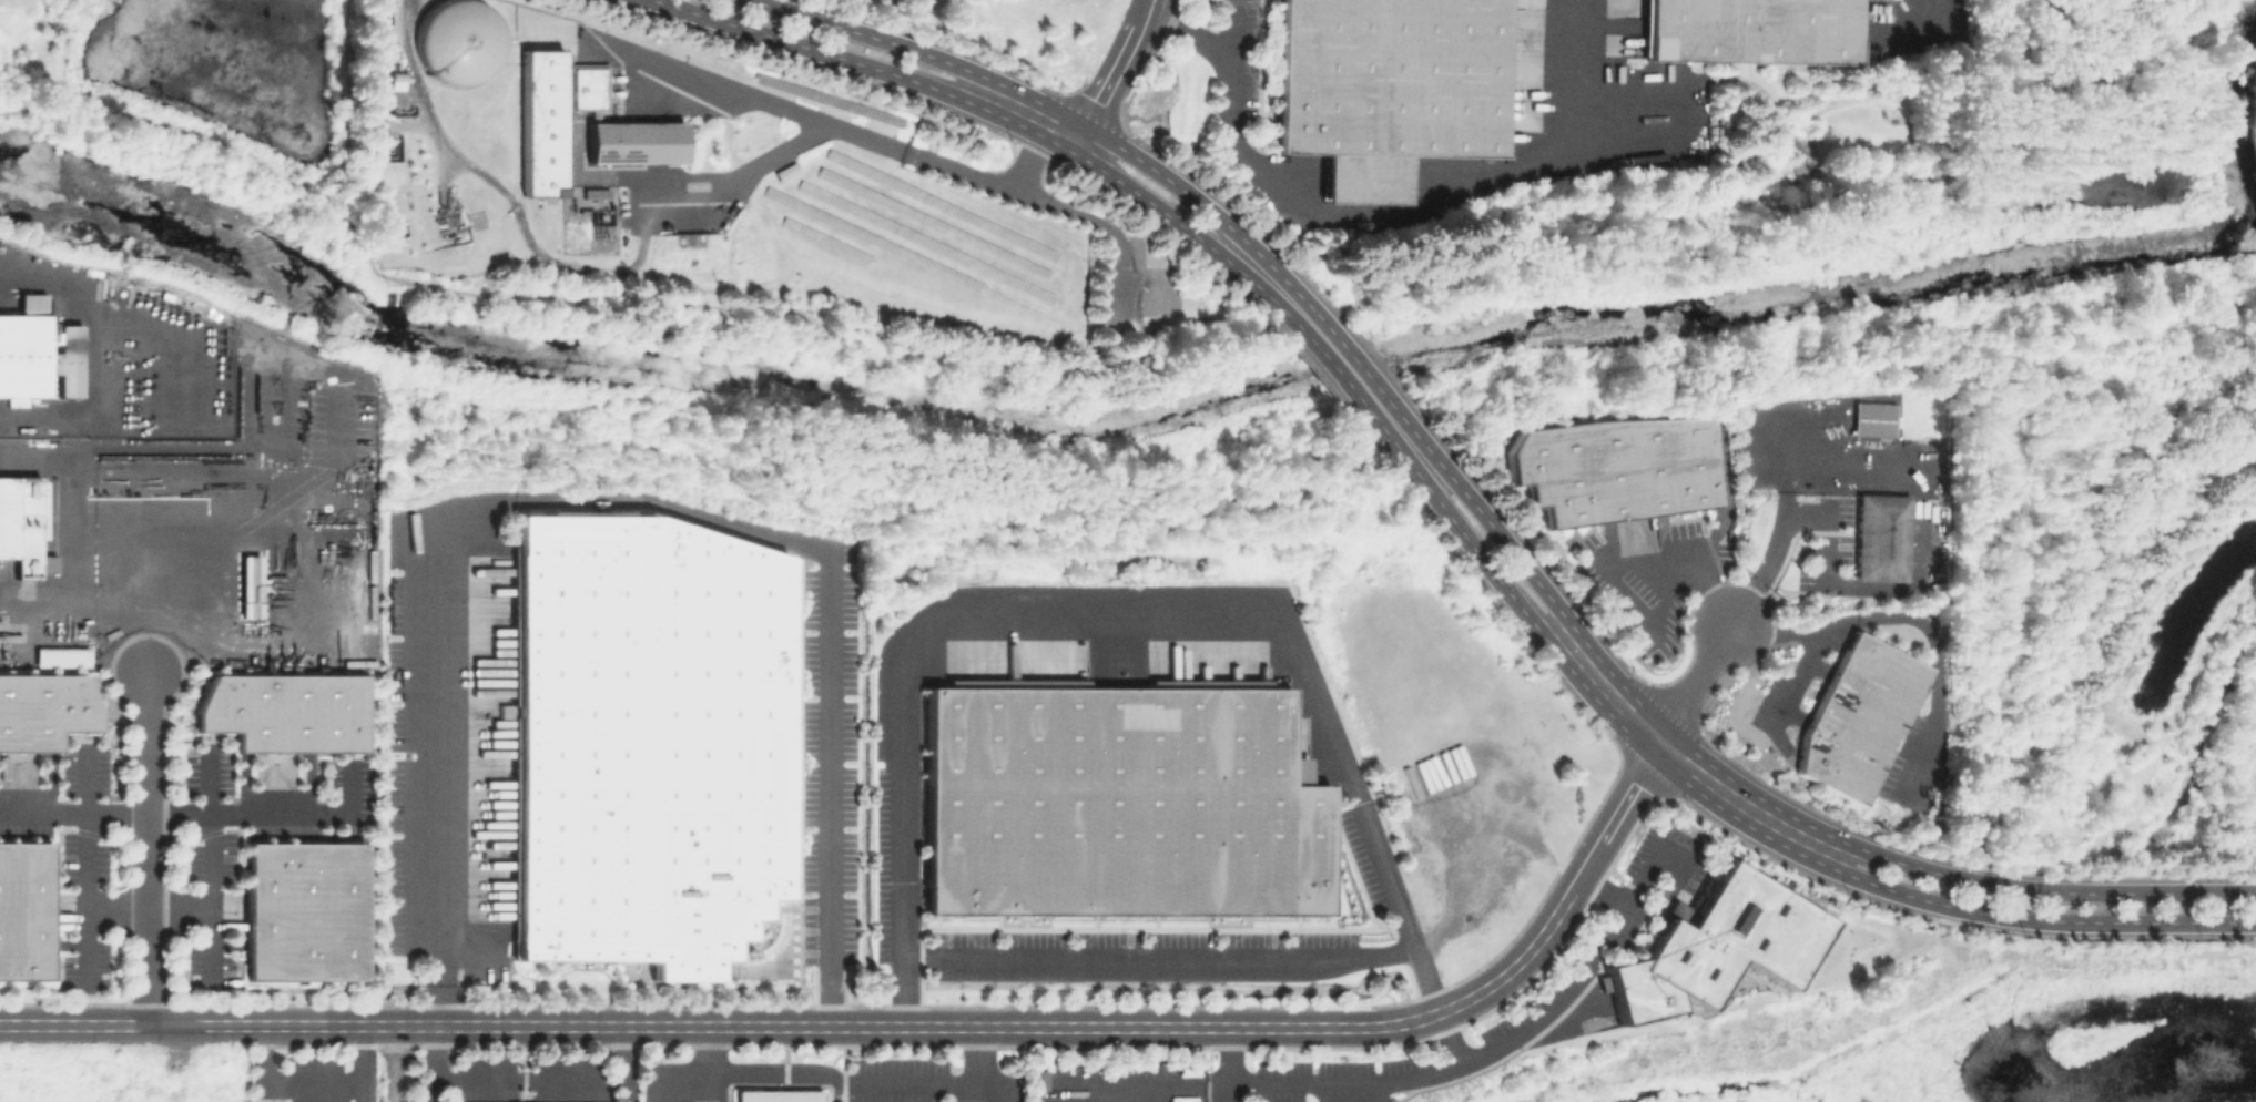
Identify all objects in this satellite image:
road: (1141, 12)
building: (1754, 31)
road: (866, 35)
road: (1193, 37)
road: (1906, 37)
road: (1230, 39)
storage tank: (456, 40)
building: (456, 41)
road: (61, 45)
road: (812, 49)
road: (2083, 79)
road: (1109, 82)
building: (1389, 86)
building: (589, 90)
road: (1229, 104)
road: (1026, 112)
road: (802, 113)
building: (541, 122)
road: (1041, 136)
building: (638, 140)
road: (734, 180)
road: (502, 190)
building: (597, 192)
road: (1576, 195)
road: (1192, 198)
road: (1454, 202)
road: (1086, 217)
road: (1173, 218)
power substation: (588, 220)
road: (1151, 222)
road: (543, 297)
building: (33, 304)
road: (1217, 320)
road: (1140, 329)
road: (1340, 341)
road: (1322, 351)
road: (93, 353)
building: (39, 357)
road: (1311, 360)
building: (19, 401)
building: (1872, 418)
road: (1856, 467)
building: (1612, 468)
road: (1784, 470)
road: (1721, 479)
road: (72, 493)
road: (624, 501)
building: (47, 504)
road: (1481, 512)
building: (21, 520)
road: (1459, 528)
building: (1883, 535)
road: (1680, 540)
road: (1823, 555)
building: (250, 586)
road: (1491, 594)
road: (98, 600)
road: (1634, 605)
road: (1110, 608)
road: (1833, 623)
building: (64, 655)
road: (1797, 676)
road: (1694, 683)
building: (43, 711)
building: (286, 712)
building: (1860, 716)
building: (644, 739)
road: (1678, 757)
road: (1919, 758)
road: (1638, 783)
road: (1630, 790)
building: (1118, 800)
road: (180, 810)
road: (148, 847)
road: (1585, 868)
road: (2037, 890)
road: (1632, 898)
road: (149, 902)
building: (305, 910)
building: (23, 912)
road: (2031, 919)
road: (1943, 920)
road: (212, 941)
road: (87, 942)
building: (1718, 947)
road: (1159, 962)
road: (124, 1024)
road: (934, 1027)
road: (1450, 1035)
road: (708, 1050)
road: (977, 1054)
road: (395, 1063)
road: (627, 1063)
road: (437, 1064)
road: (1434, 1068)
road: (531, 1077)
road: (674, 1078)
road: (861, 1083)
road: (1144, 1083)
road: (1228, 1092)
road: (1355, 1092)
building: (780, 1096)

